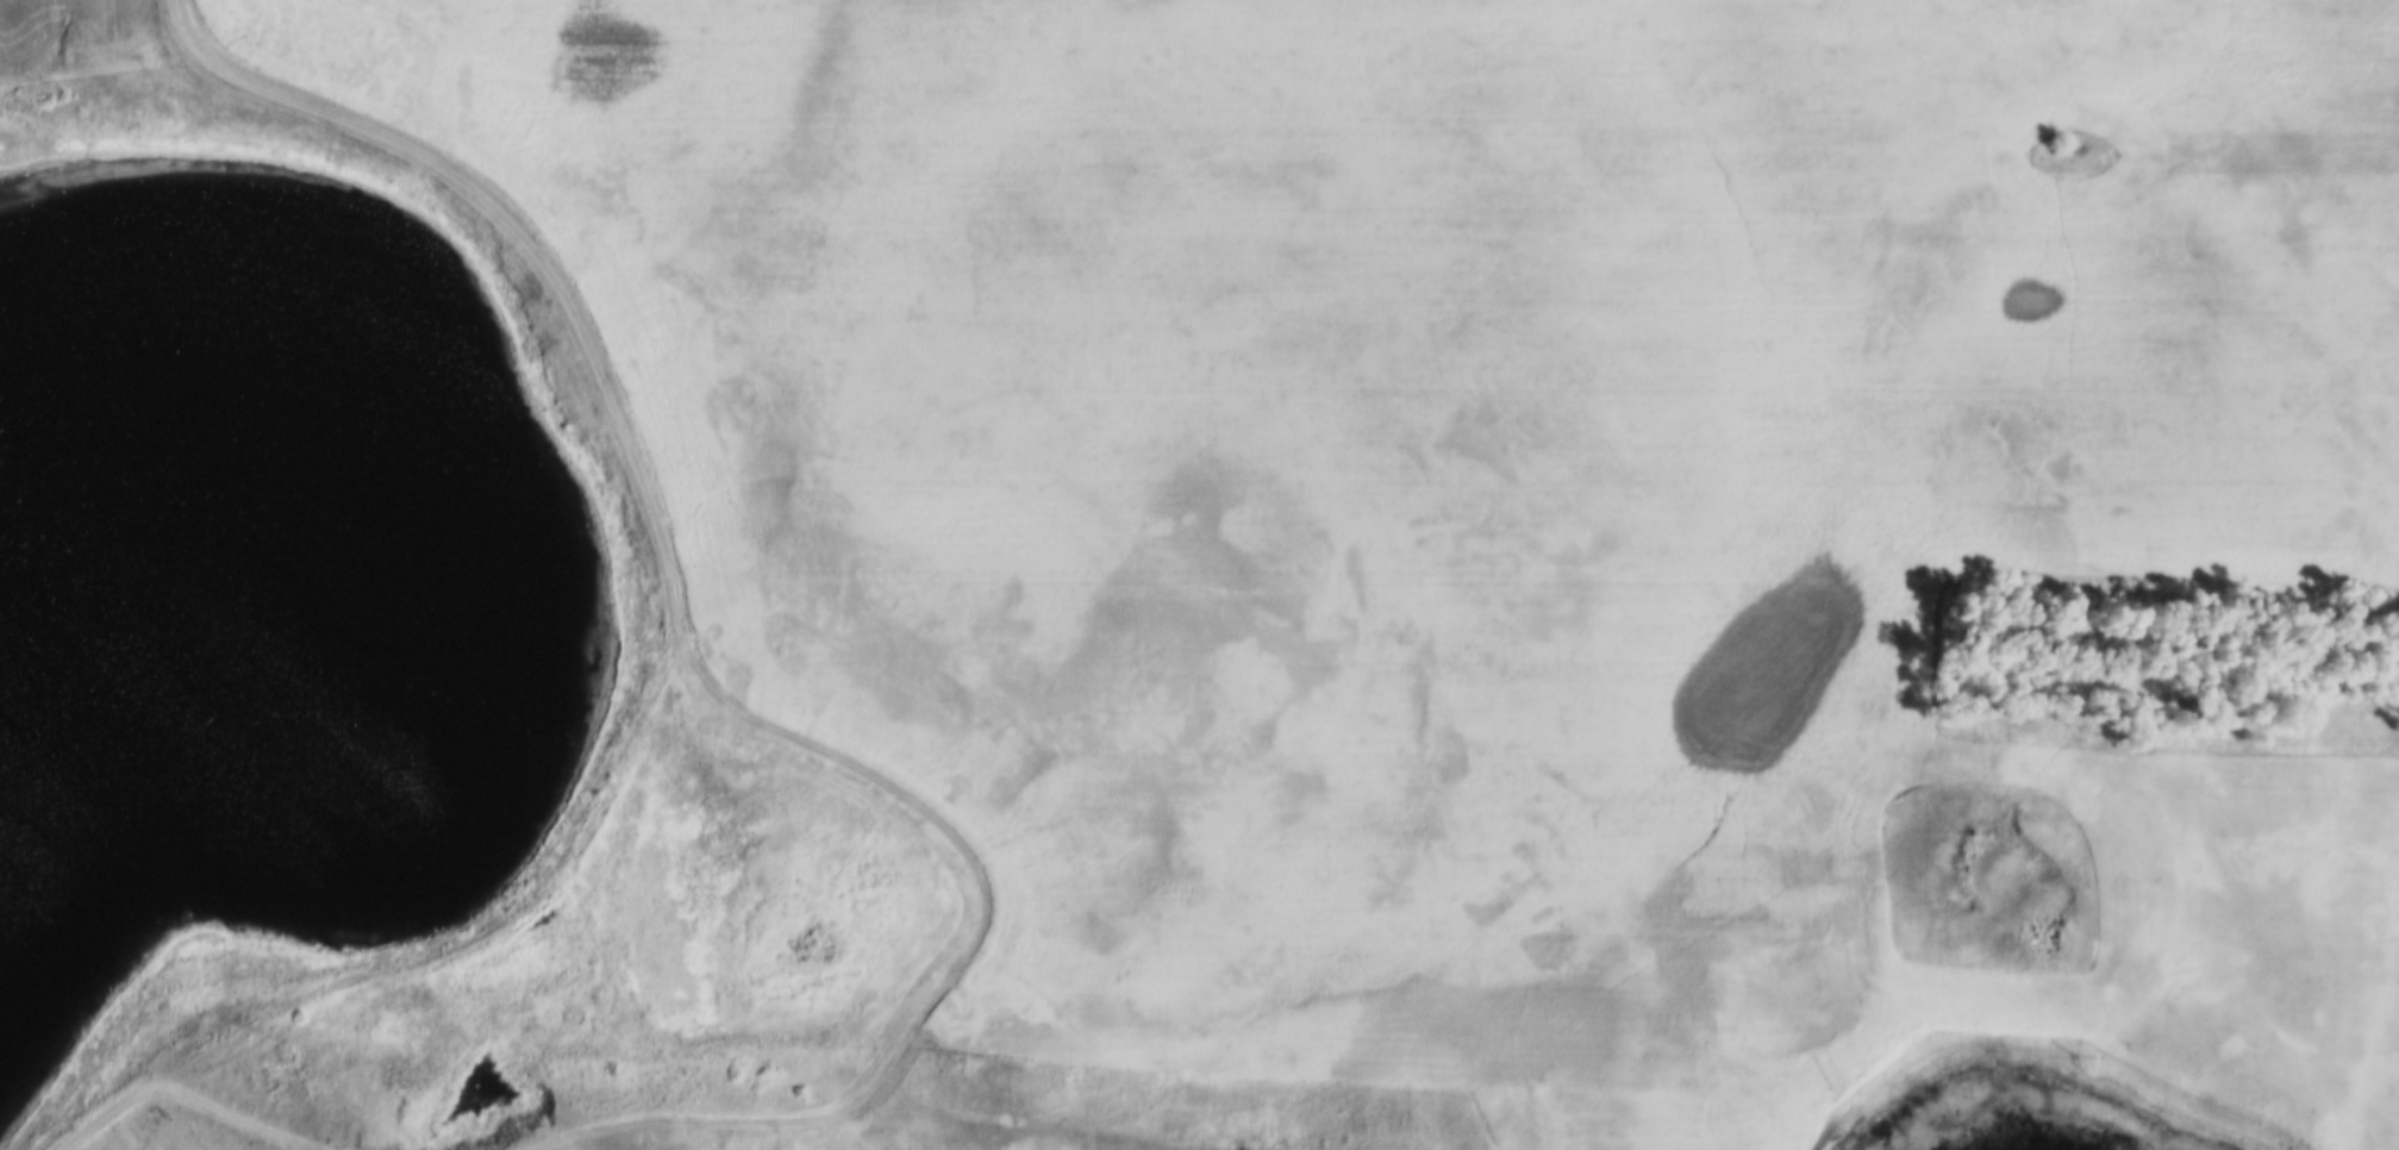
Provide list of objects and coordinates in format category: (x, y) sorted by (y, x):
road: (685, 592)
road: (948, 970)
building: (2245, 1064)
road: (258, 1114)
road: (82, 1131)

